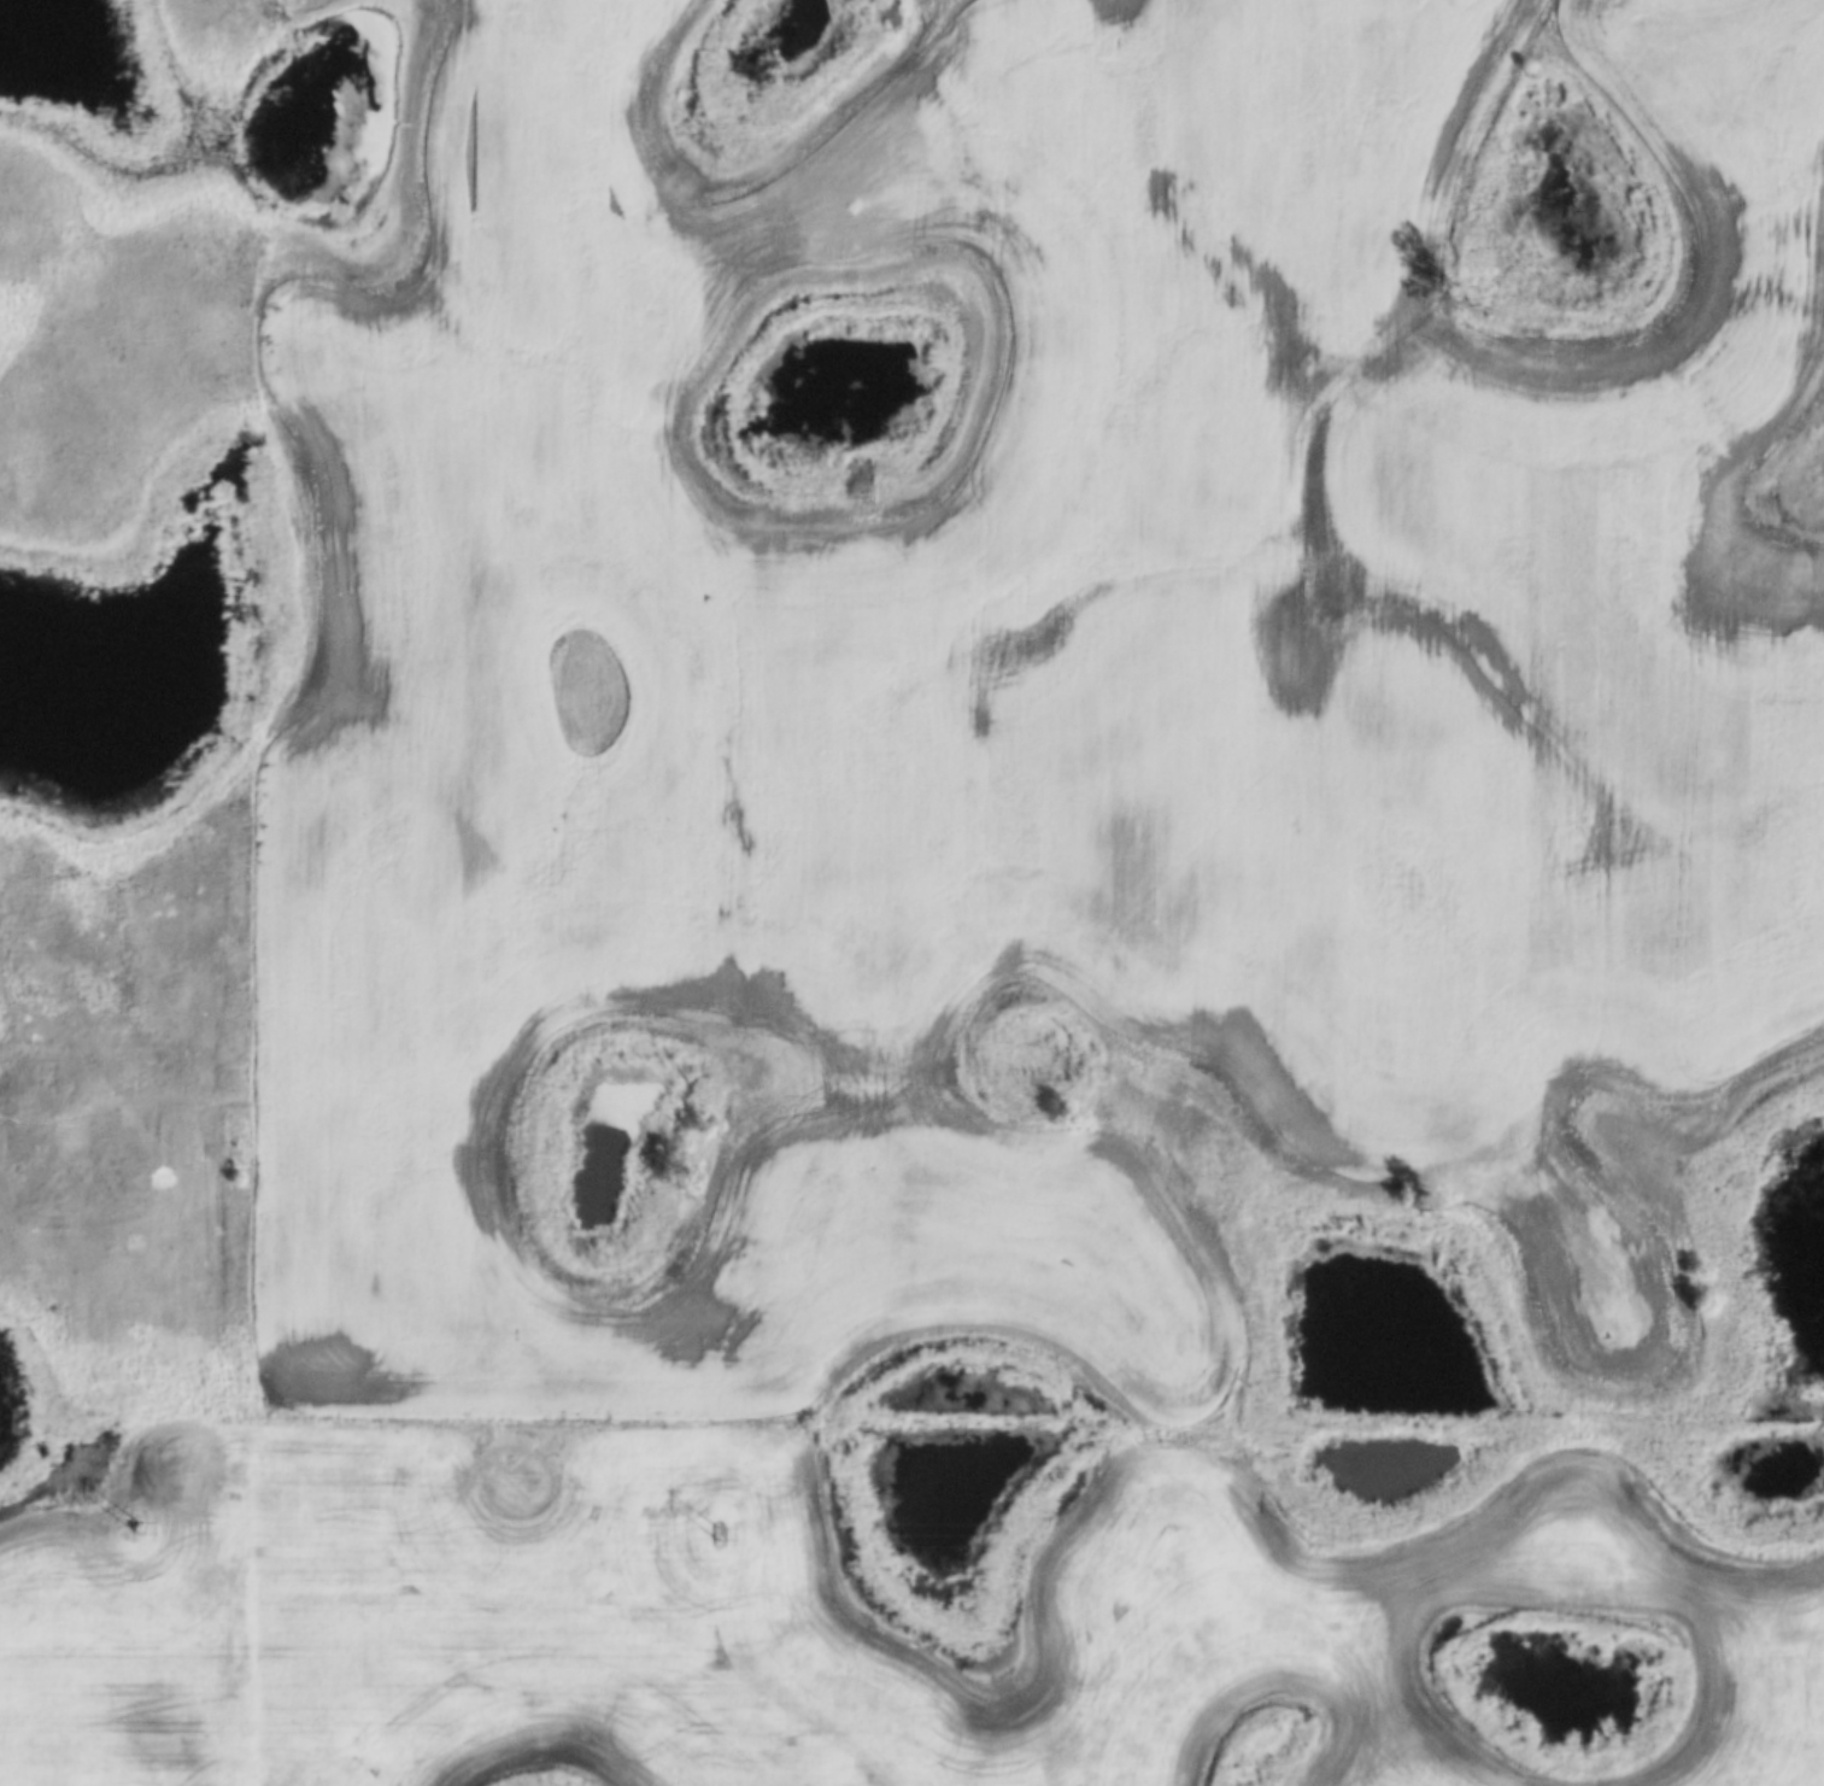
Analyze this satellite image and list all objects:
power tower: (134, 1528)
power tower: (714, 1533)
power tower: (1309, 1538)

